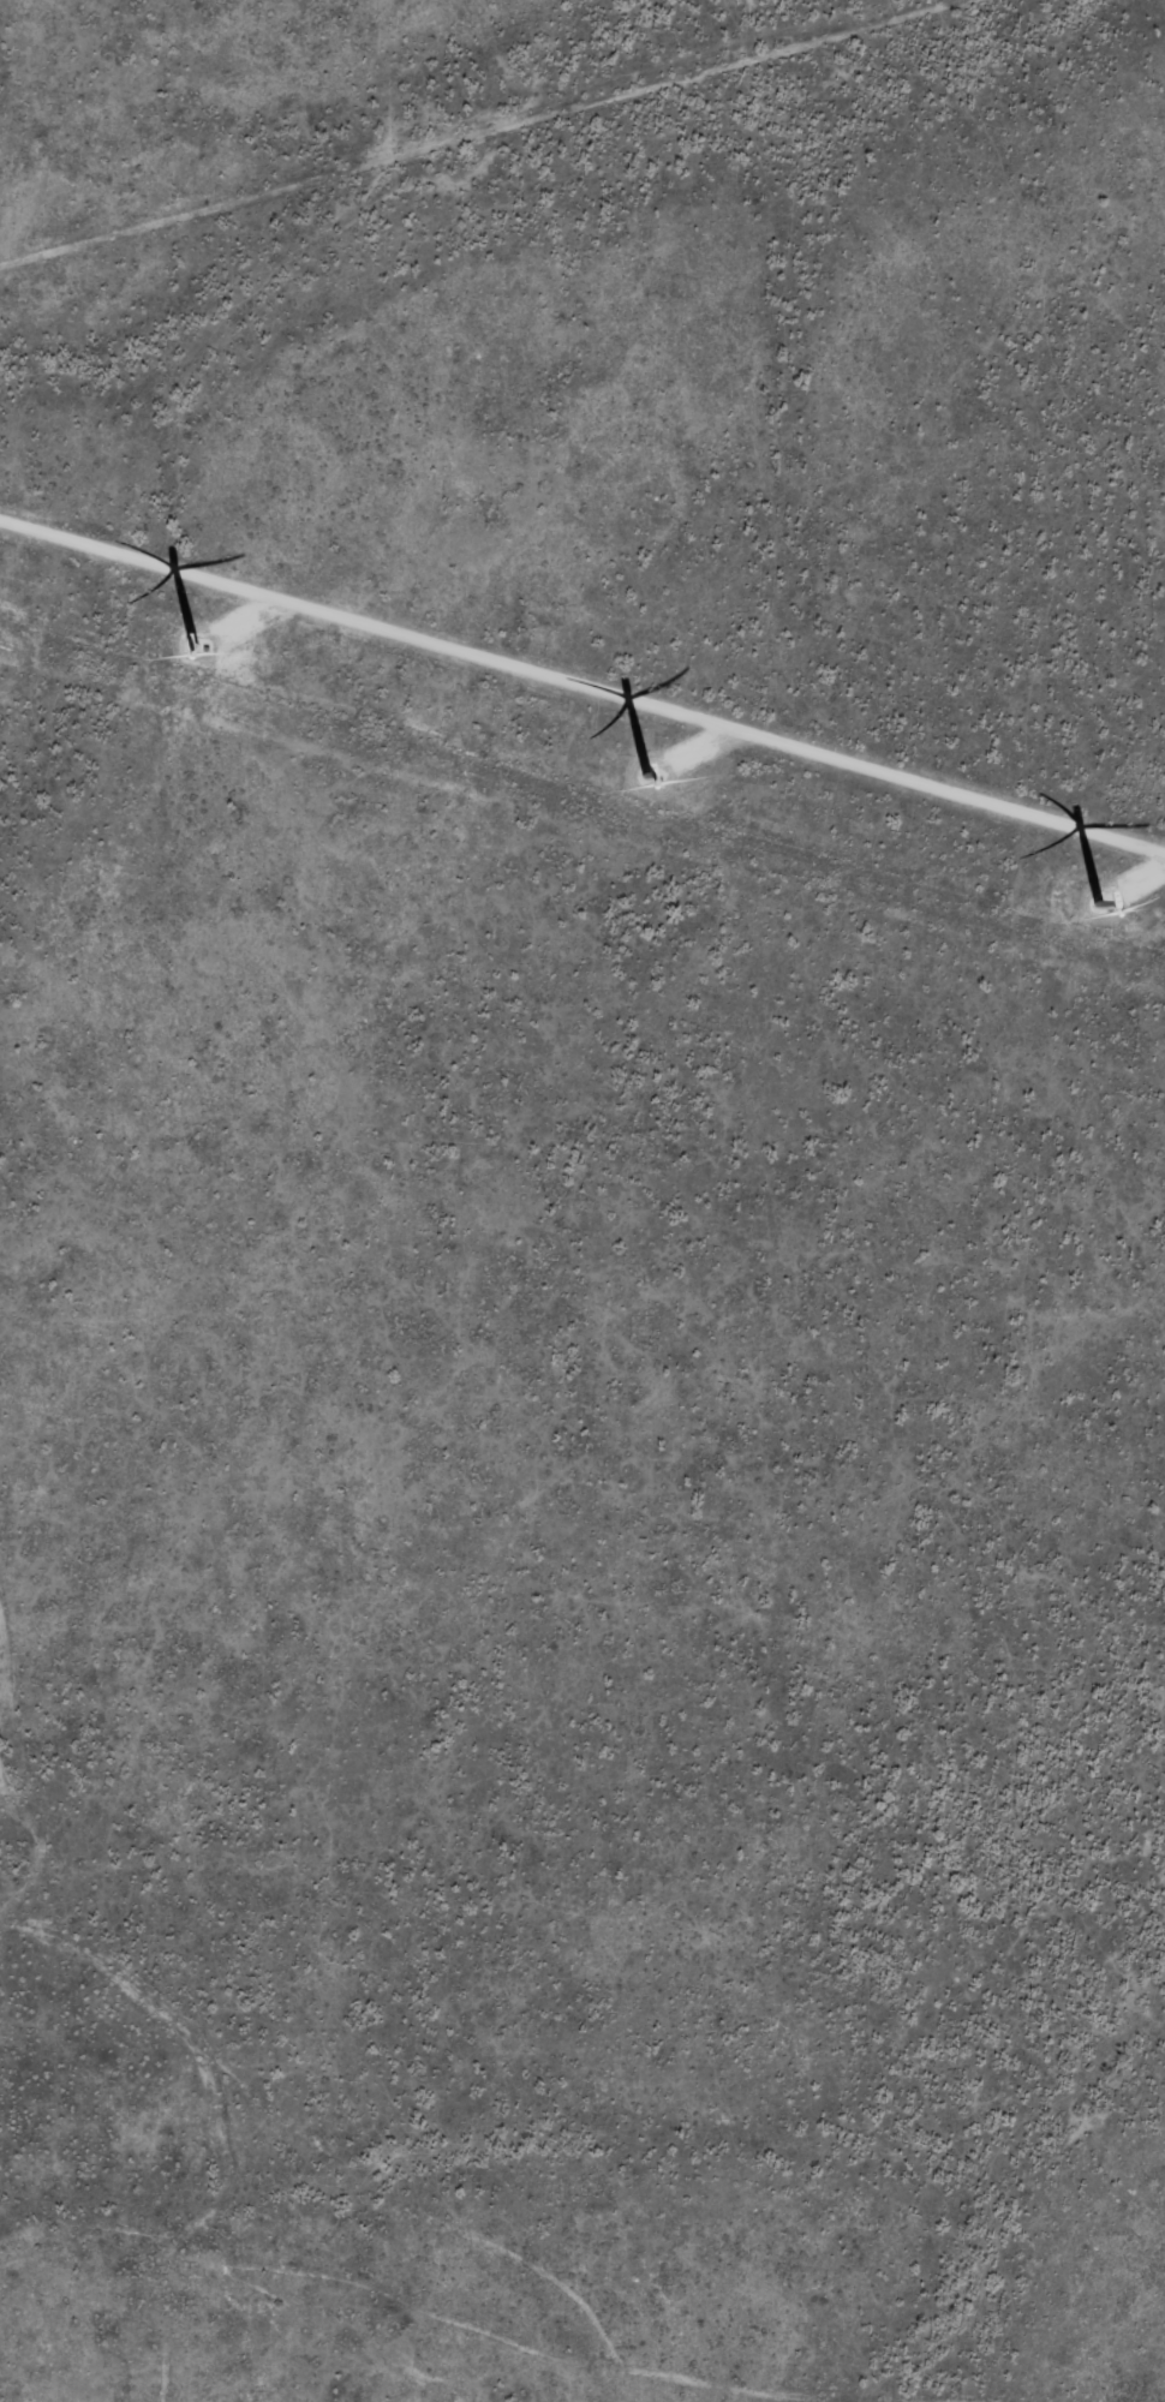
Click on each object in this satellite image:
road: (520, 127)
wind turbine: (189, 658)
wind turbine: (639, 759)
wind turbine: (1077, 948)

